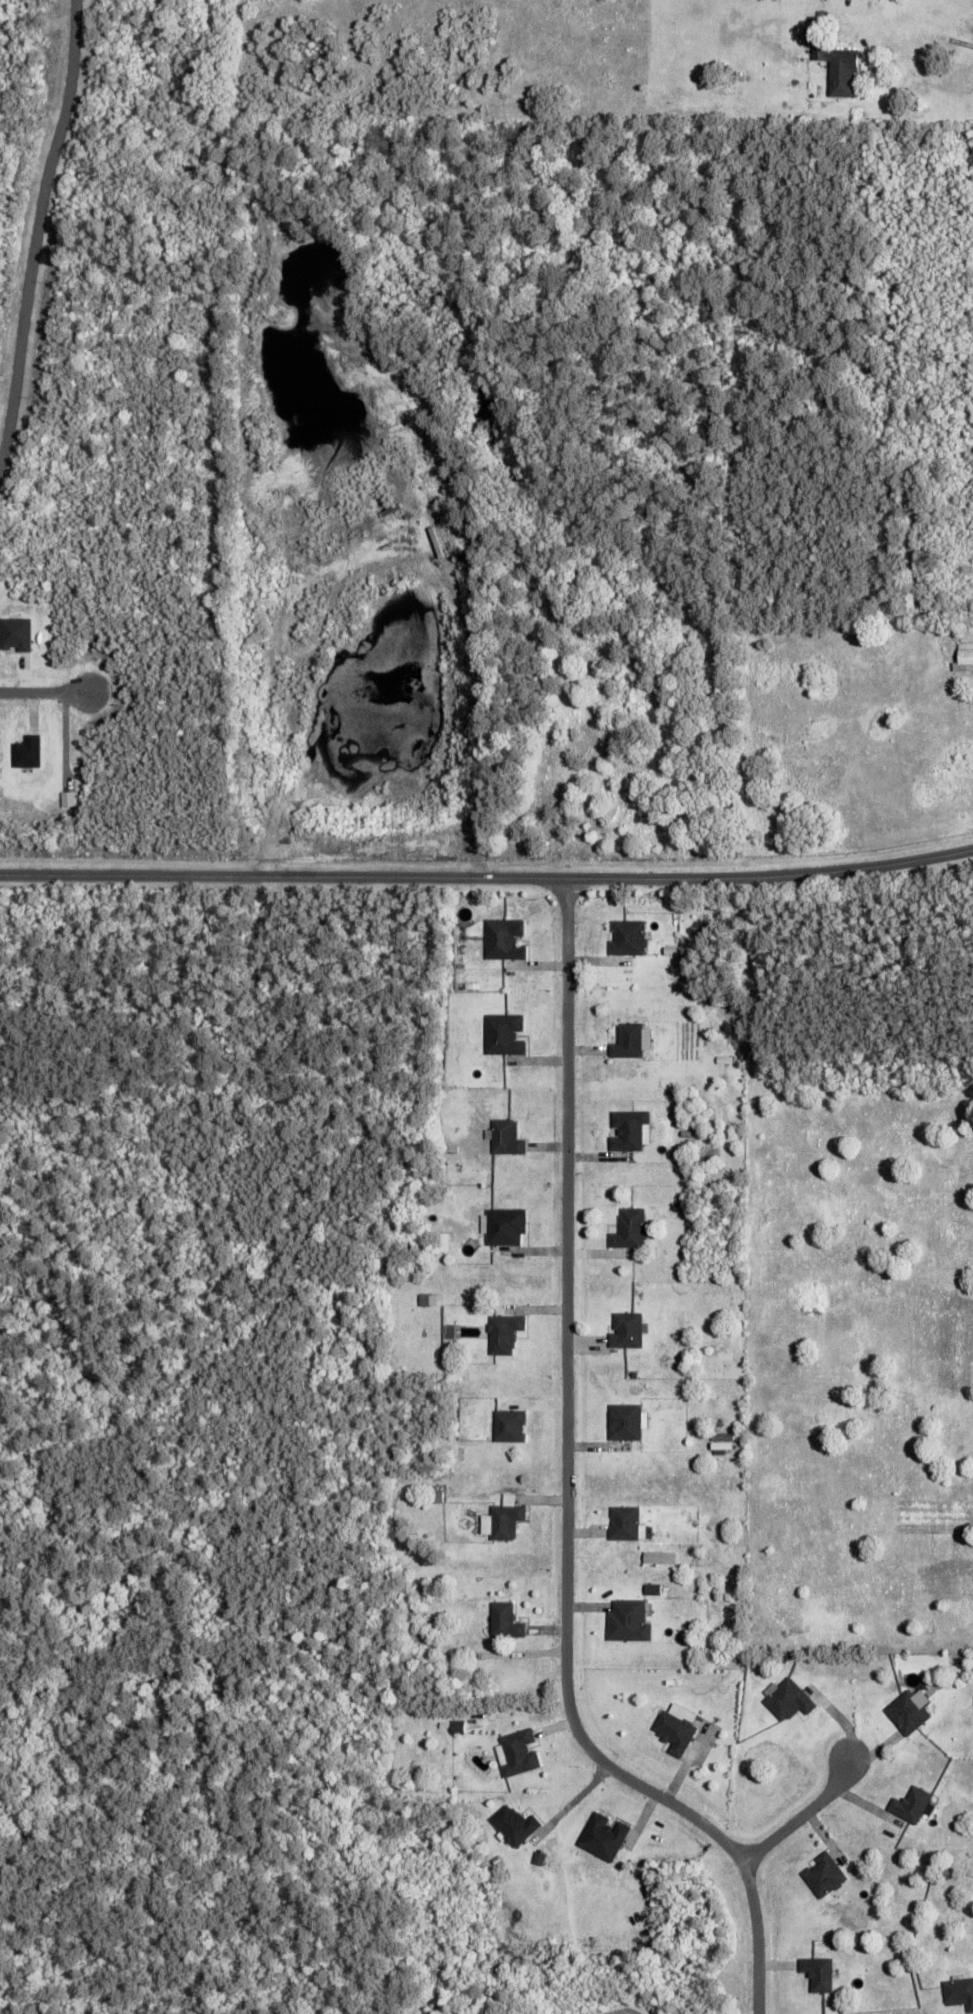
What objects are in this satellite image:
building: (837, 68)
road: (37, 228)
building: (15, 633)
building: (964, 656)
road: (46, 692)
building: (25, 752)
road: (487, 876)
building: (626, 937)
building: (502, 939)
building: (502, 1034)
building: (629, 1041)
building: (626, 1130)
building: (504, 1137)
building: (504, 1226)
building: (628, 1229)
building: (441, 1242)
building: (427, 1299)
building: (626, 1330)
building: (503, 1333)
building: (623, 1421)
building: (508, 1425)
building: (720, 1444)
road: (565, 1487)
building: (433, 1495)
building: (502, 1518)
building: (624, 1522)
building: (657, 1556)
building: (503, 1620)
building: (627, 1620)
building: (786, 1699)
building: (908, 1710)
building: (674, 1727)
building: (516, 1752)
building: (911, 1804)
road: (800, 1816)
building: (513, 1824)
building: (602, 1836)
building: (823, 1875)
building: (817, 1973)
building: (959, 1992)

